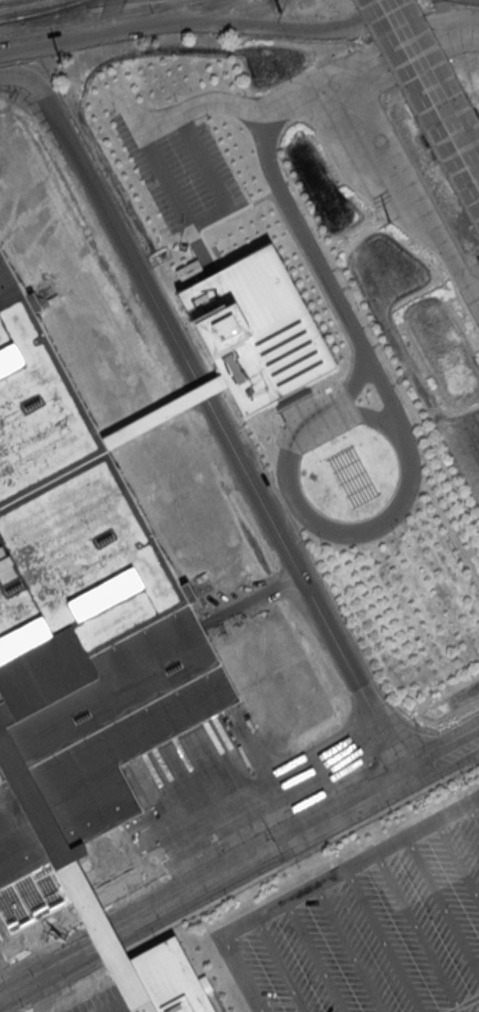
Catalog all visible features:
railway: (105, 3)
railway: (34, 6)
railway: (55, 10)
railway: (58, 11)
railway: (94, 18)
road: (203, 23)
road: (430, 90)
road: (289, 105)
road: (416, 116)
parking lot: (206, 161)
road: (204, 165)
parking lot: (147, 171)
road: (418, 192)
road: (176, 200)
road: (200, 218)
road: (109, 220)
building: (188, 270)
road: (323, 274)
building: (255, 329)
road: (352, 384)
road: (203, 389)
building: (162, 410)
road: (446, 473)
road: (310, 520)
road: (446, 527)
road: (470, 549)
road: (307, 584)
road: (250, 598)
building: (77, 645)
road: (473, 816)
road: (299, 833)
road: (458, 860)
road: (311, 886)
road: (442, 906)
parking lot: (371, 928)
road: (417, 932)
road: (104, 938)
road: (383, 940)
building: (105, 941)
road: (347, 948)
road: (314, 956)
road: (276, 965)
road: (44, 970)
building: (159, 981)
building: (203, 984)
road: (44, 992)
road: (221, 1002)
parking lot: (100, 1003)
road: (54, 1010)

